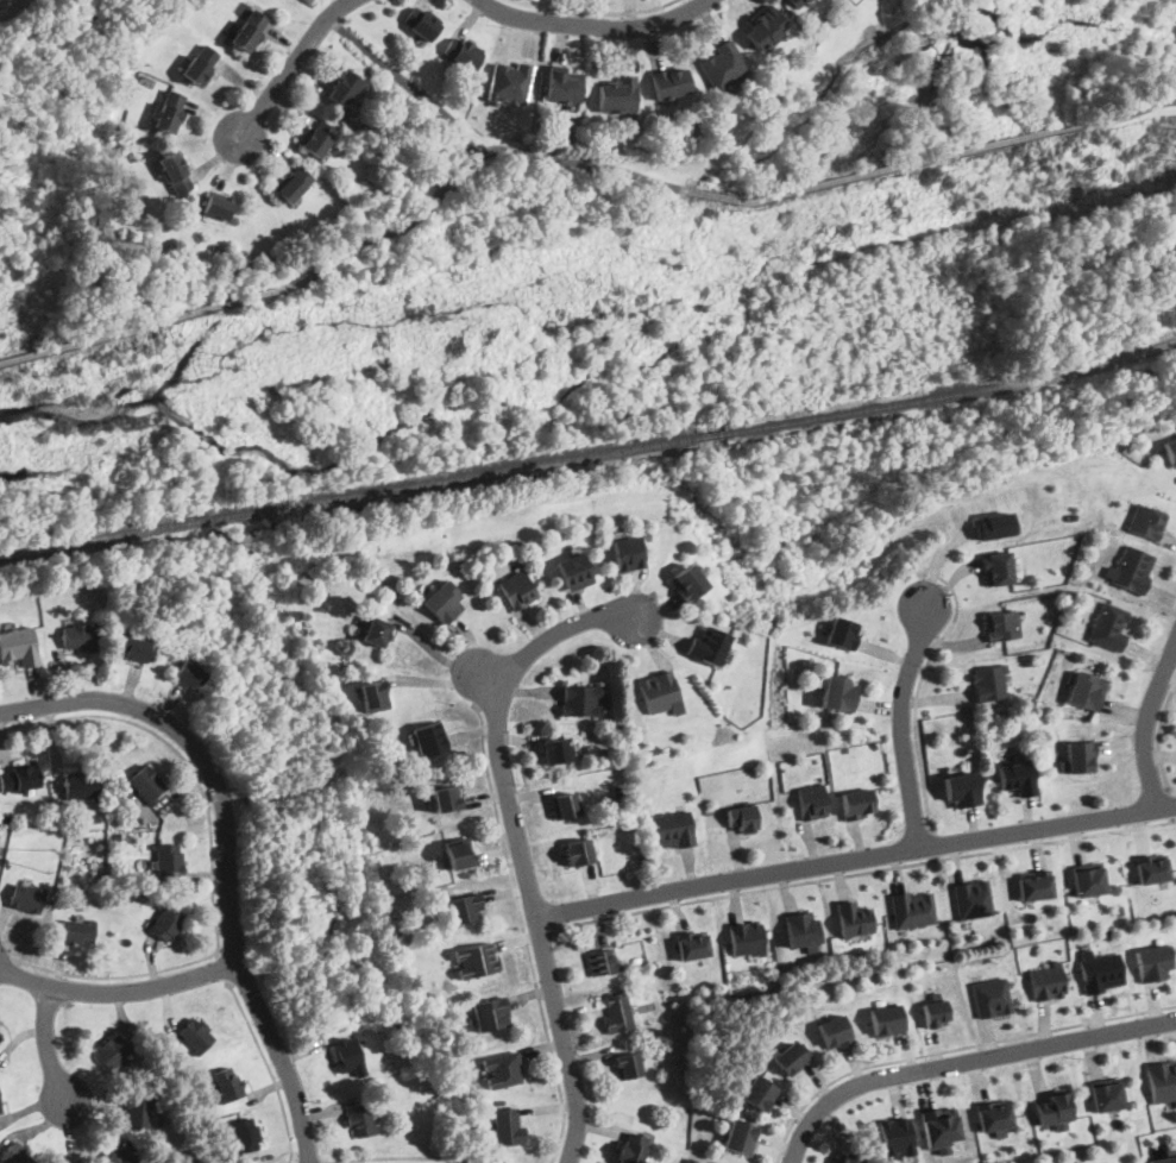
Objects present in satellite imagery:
building: (797, 4)
road: (595, 11)
building: (421, 21)
road: (595, 24)
building: (765, 27)
building: (250, 29)
building: (461, 51)
building: (201, 63)
building: (723, 67)
road: (284, 71)
road: (405, 80)
building: (509, 81)
building: (669, 81)
building: (564, 83)
building: (344, 88)
building: (618, 93)
road: (1142, 107)
building: (170, 111)
building: (317, 139)
road: (561, 157)
road: (897, 165)
building: (175, 172)
building: (293, 184)
building: (216, 206)
power tower: (673, 258)
road: (237, 300)
power tower: (231, 359)
railway: (954, 395)
railway: (711, 436)
building: (1170, 450)
railway: (497, 472)
building: (1146, 521)
building: (994, 523)
building: (627, 553)
building: (999, 567)
building: (1132, 567)
building: (573, 570)
building: (686, 581)
building: (516, 590)
building: (444, 602)
building: (1002, 623)
building: (1109, 624)
building: (376, 629)
building: (839, 633)
building: (78, 635)
building: (708, 645)
building: (17, 646)
building: (134, 646)
building: (189, 672)
road: (485, 679)
building: (989, 681)
road: (918, 690)
building: (1087, 690)
building: (659, 691)
building: (835, 692)
building: (373, 693)
building: (580, 699)
road: (901, 722)
road: (1146, 723)
road: (1159, 736)
building: (428, 738)
building: (554, 749)
building: (1080, 756)
building: (19, 775)
building: (1017, 777)
building: (81, 784)
building: (146, 784)
building: (961, 787)
building: (445, 799)
building: (811, 800)
building: (857, 801)
building: (564, 803)
road: (1171, 805)
building: (740, 816)
building: (671, 829)
road: (936, 844)
road: (518, 847)
building: (577, 850)
road: (226, 853)
building: (459, 854)
road: (212, 856)
building: (169, 860)
road: (855, 860)
building: (1151, 868)
road: (864, 873)
building: (1089, 880)
building: (1036, 882)
building: (26, 895)
building: (974, 898)
building: (464, 907)
building: (914, 907)
building: (855, 917)
building: (165, 922)
building: (76, 929)
building: (804, 929)
road: (524, 932)
road: (540, 932)
building: (747, 936)
building: (692, 943)
building: (474, 960)
building: (602, 960)
building: (1155, 962)
road: (221, 968)
building: (1101, 970)
building: (1048, 980)
road: (119, 991)
building: (991, 997)
building: (617, 1010)
building: (933, 1010)
building: (490, 1013)
building: (886, 1019)
building: (0, 1031)
building: (835, 1032)
building: (195, 1033)
building: (0, 1035)
road: (48, 1045)
road: (952, 1049)
building: (113, 1051)
building: (347, 1055)
building: (790, 1058)
road: (963, 1061)
building: (628, 1064)
building: (502, 1068)
road: (270, 1069)
building: (1163, 1079)
building: (227, 1083)
building: (1107, 1093)
building: (759, 1094)
building: (1052, 1107)
building: (0, 1108)
building: (138, 1112)
building: (994, 1115)
building: (359, 1118)
building: (509, 1125)
building: (938, 1130)
building: (245, 1134)
building: (740, 1137)
building: (897, 1138)
building: (631, 1148)
building: (15, 1156)
building: (119, 1156)
building: (1165, 1156)
building: (847, 1158)
road: (407, 1159)
building: (1120, 1162)

